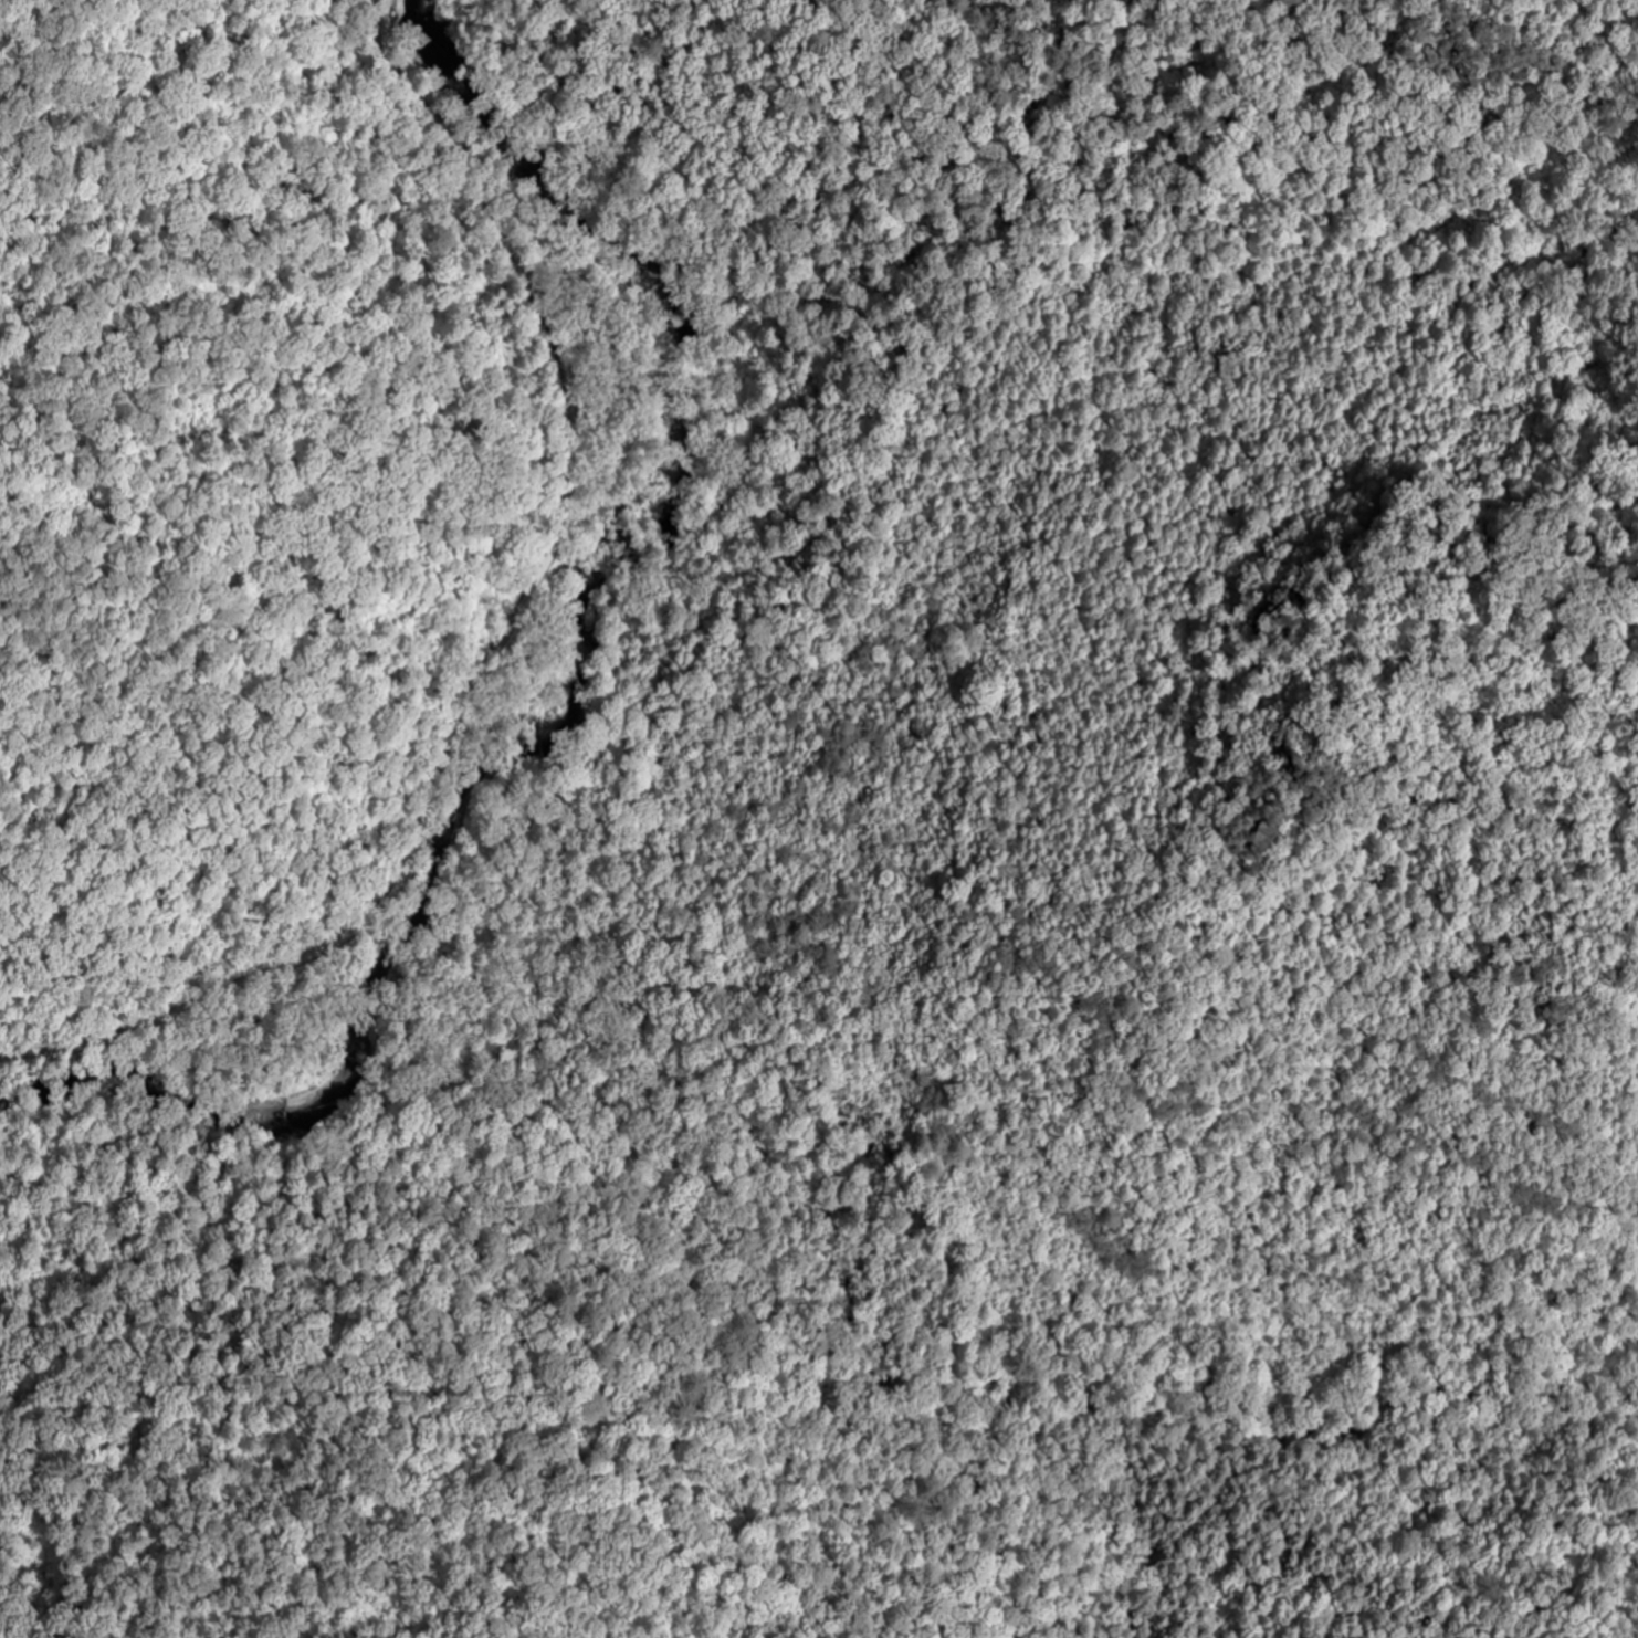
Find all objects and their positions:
road: (496, 636)

